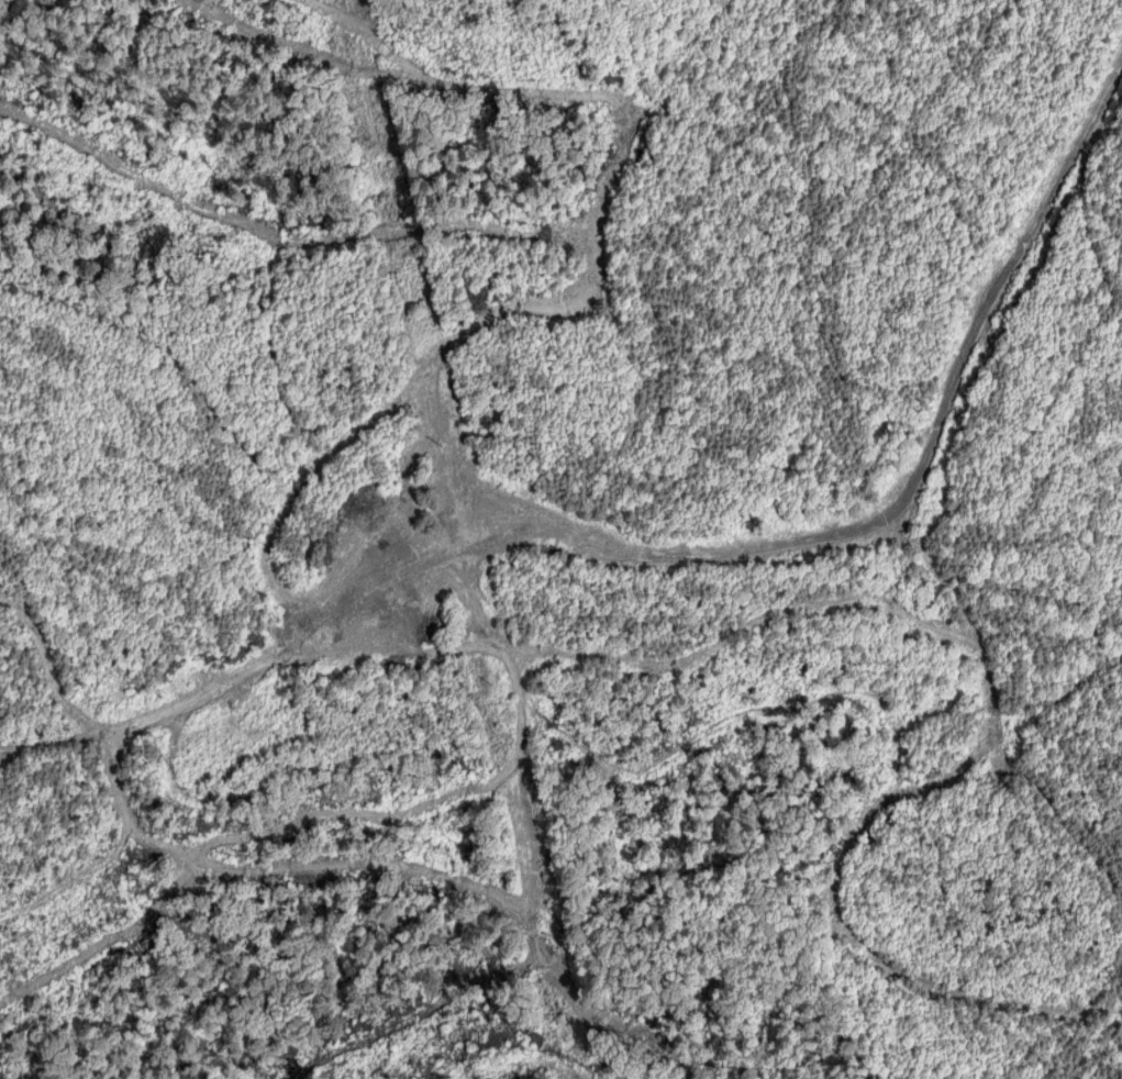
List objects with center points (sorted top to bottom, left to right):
road: (949, 348)

